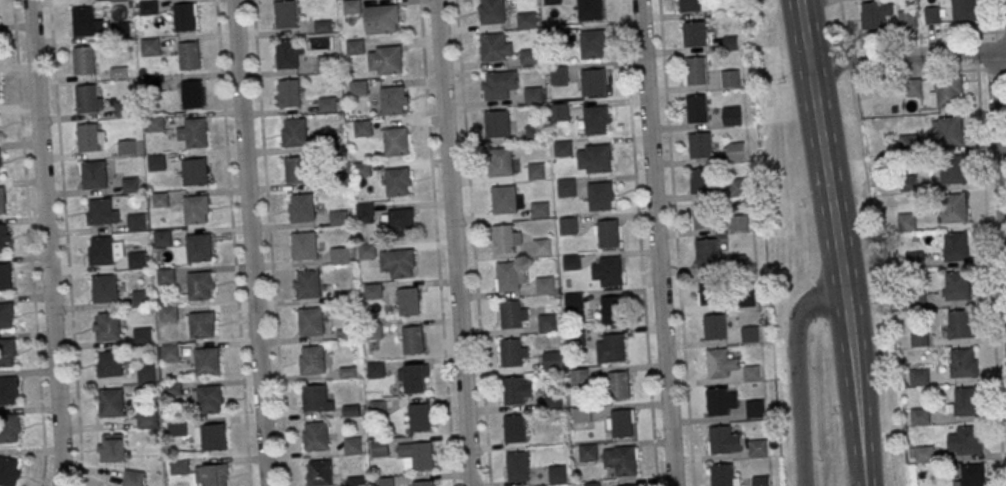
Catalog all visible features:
building: (117, 1)
building: (551, 3)
building: (689, 6)
building: (350, 7)
building: (147, 8)
building: (590, 9)
building: (964, 10)
building: (492, 12)
building: (285, 15)
building: (877, 15)
building: (932, 15)
road: (993, 15)
building: (185, 17)
building: (906, 19)
building: (385, 20)
building: (525, 21)
road: (842, 21)
building: (82, 22)
building: (120, 31)
building: (693, 35)
road: (925, 36)
building: (555, 37)
building: (591, 43)
building: (730, 43)
building: (149, 47)
building: (496, 47)
building: (354, 48)
building: (189, 55)
building: (286, 55)
road: (907, 56)
building: (529, 57)
building: (390, 60)
road: (848, 60)
building: (82, 62)
building: (326, 65)
road: (928, 72)
building: (696, 73)
building: (559, 76)
building: (729, 80)
building: (593, 82)
building: (499, 84)
building: (150, 86)
building: (358, 90)
building: (289, 93)
building: (946, 93)
building: (192, 95)
building: (0, 97)
building: (532, 97)
building: (394, 100)
building: (86, 101)
building: (326, 106)
building: (123, 110)
building: (696, 110)
building: (560, 114)
building: (731, 117)
building: (595, 120)
building: (497, 123)
building: (154, 125)
building: (362, 129)
building: (948, 131)
building: (294, 132)
building: (195, 134)
building: (534, 135)
building: (87, 139)
building: (396, 140)
building: (328, 142)
building: (907, 144)
building: (699, 146)
building: (562, 148)
road: (999, 148)
building: (126, 149)
building: (735, 153)
building: (597, 158)
building: (0, 162)
building: (500, 162)
building: (155, 163)
building: (297, 170)
road: (826, 170)
building: (361, 171)
building: (953, 171)
building: (194, 172)
building: (535, 172)
building: (93, 177)
building: (332, 181)
building: (397, 181)
building: (700, 182)
building: (907, 185)
building: (129, 187)
building: (737, 188)
building: (565, 189)
building: (599, 198)
building: (504, 199)
building: (159, 201)
building: (2, 202)
building: (303, 207)
building: (953, 208)
building: (195, 210)
building: (539, 211)
building: (363, 212)
building: (100, 214)
building: (702, 217)
building: (338, 220)
building: (905, 223)
building: (135, 224)
building: (398, 224)
building: (738, 225)
building: (568, 228)
building: (608, 235)
building: (4, 240)
building: (160, 240)
building: (502, 240)
road: (232, 242)
road: (269, 242)
road: (45, 243)
road: (65, 243)
road: (251, 243)
road: (436, 243)
road: (454, 243)
road: (472, 243)
road: (639, 243)
road: (657, 243)
road: (675, 243)
building: (303, 246)
building: (955, 246)
building: (198, 248)
building: (541, 249)
building: (100, 252)
building: (366, 252)
building: (705, 253)
building: (338, 257)
road: (988, 259)
building: (135, 261)
building: (913, 262)
building: (570, 264)
building: (399, 265)
building: (607, 273)
building: (5, 277)
building: (507, 277)
building: (164, 278)
road: (882, 281)
building: (306, 284)
building: (199, 285)
building: (956, 285)
building: (544, 287)
building: (103, 290)
building: (709, 292)
building: (372, 293)
building: (140, 299)
building: (745, 301)
building: (915, 301)
building: (573, 302)
building: (406, 303)
building: (611, 311)
building: (6, 315)
building: (167, 315)
building: (509, 316)
building: (310, 321)
building: (546, 324)
building: (960, 324)
building: (201, 325)
building: (713, 328)
building: (106, 329)
building: (371, 332)
building: (749, 336)
building: (141, 338)
building: (919, 340)
building: (411, 341)
building: (575, 341)
building: (614, 350)
building: (7, 352)
building: (170, 354)
building: (510, 355)
building: (311, 359)
building: (206, 361)
building: (962, 362)
building: (550, 363)
building: (716, 363)
building: (109, 366)
building: (375, 372)
building: (750, 374)
road: (798, 374)
building: (145, 376)
building: (578, 379)
building: (918, 379)
building: (413, 381)
building: (619, 387)
building: (8, 390)
building: (171, 392)
building: (513, 393)
building: (316, 398)
building: (208, 399)
building: (552, 401)
building: (964, 402)
building: (716, 403)
building: (110, 405)
building: (376, 409)
building: (753, 411)
road: (858, 413)
building: (581, 416)
building: (919, 418)
building: (419, 419)
building: (145, 421)
building: (621, 425)
building: (10, 428)
building: (176, 430)
building: (513, 431)
building: (315, 436)
building: (210, 437)
building: (964, 440)
building: (720, 441)
building: (351, 447)
building: (111, 448)
building: (378, 448)
building: (756, 450)
building: (586, 454)
building: (416, 456)
building: (923, 456)
building: (624, 460)
building: (179, 468)
building: (517, 469)
building: (9, 472)
building: (319, 473)
building: (212, 475)
building: (721, 475)
building: (971, 475)
building: (556, 476)
building: (133, 478)
building: (760, 481)
building: (355, 482)
building: (382, 483)
building: (421, 483)
building: (592, 485)
building: (628, 485)

